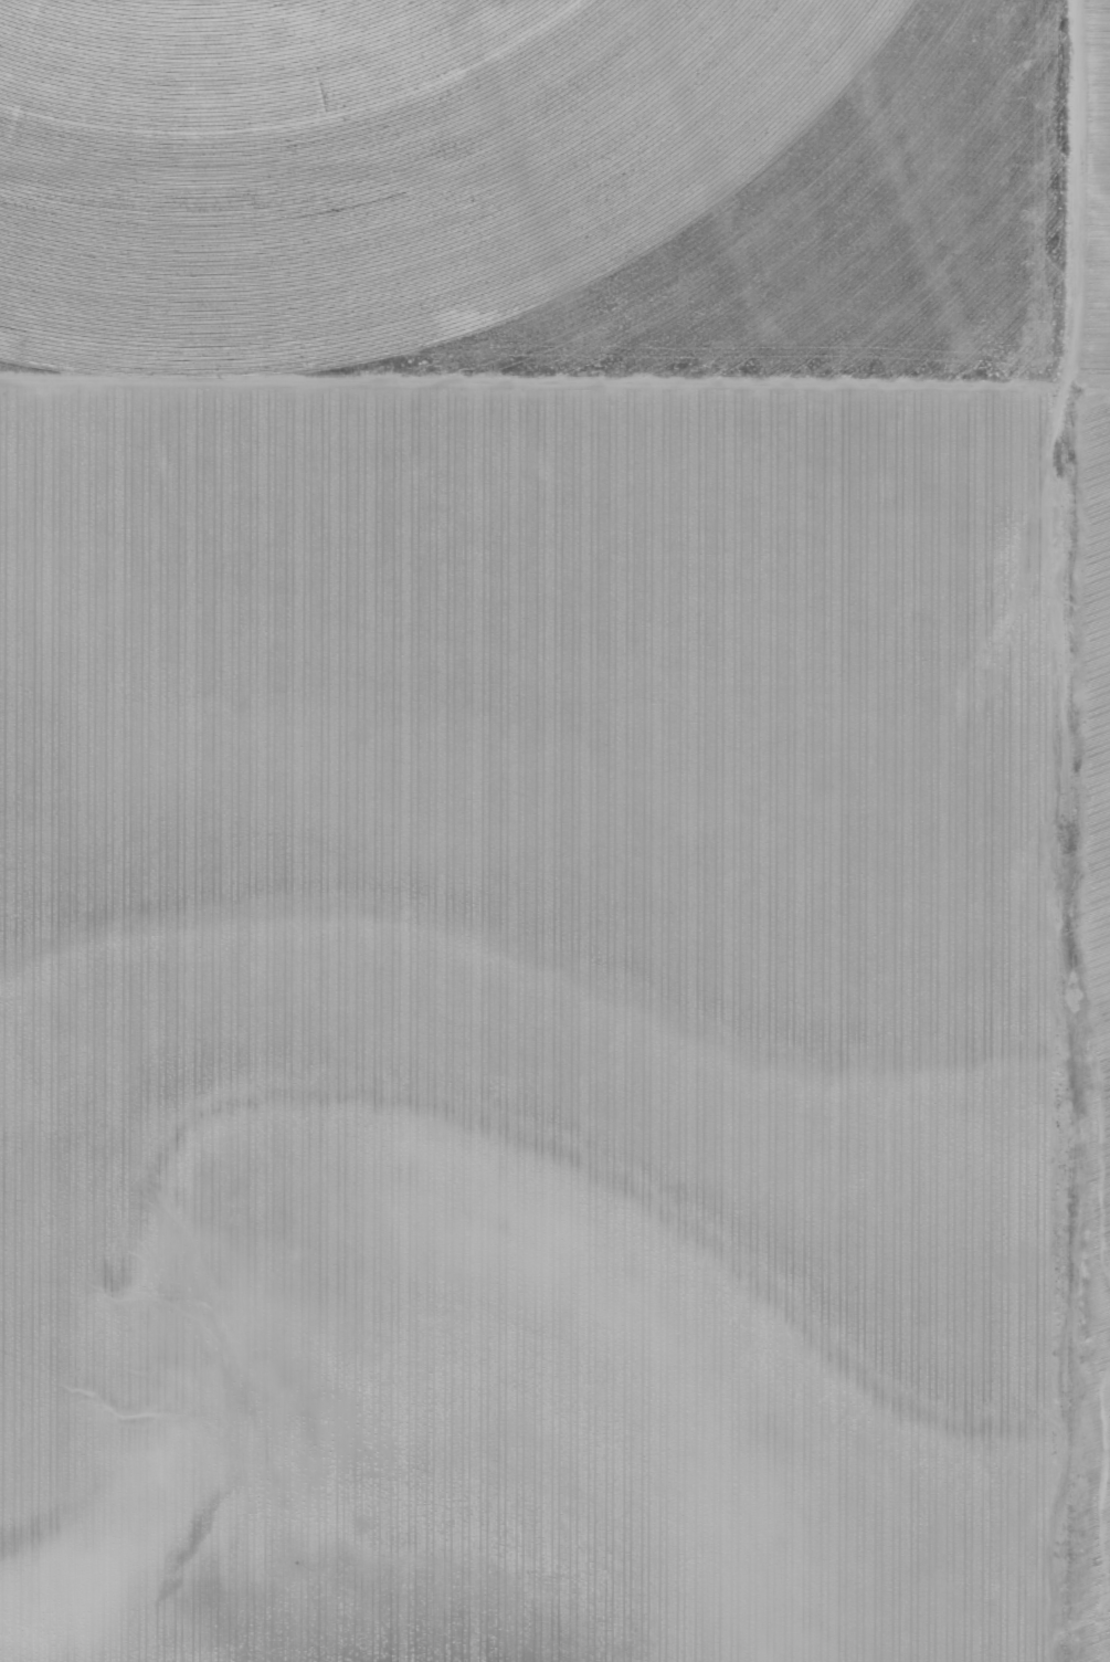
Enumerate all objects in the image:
road: (1034, 830)

